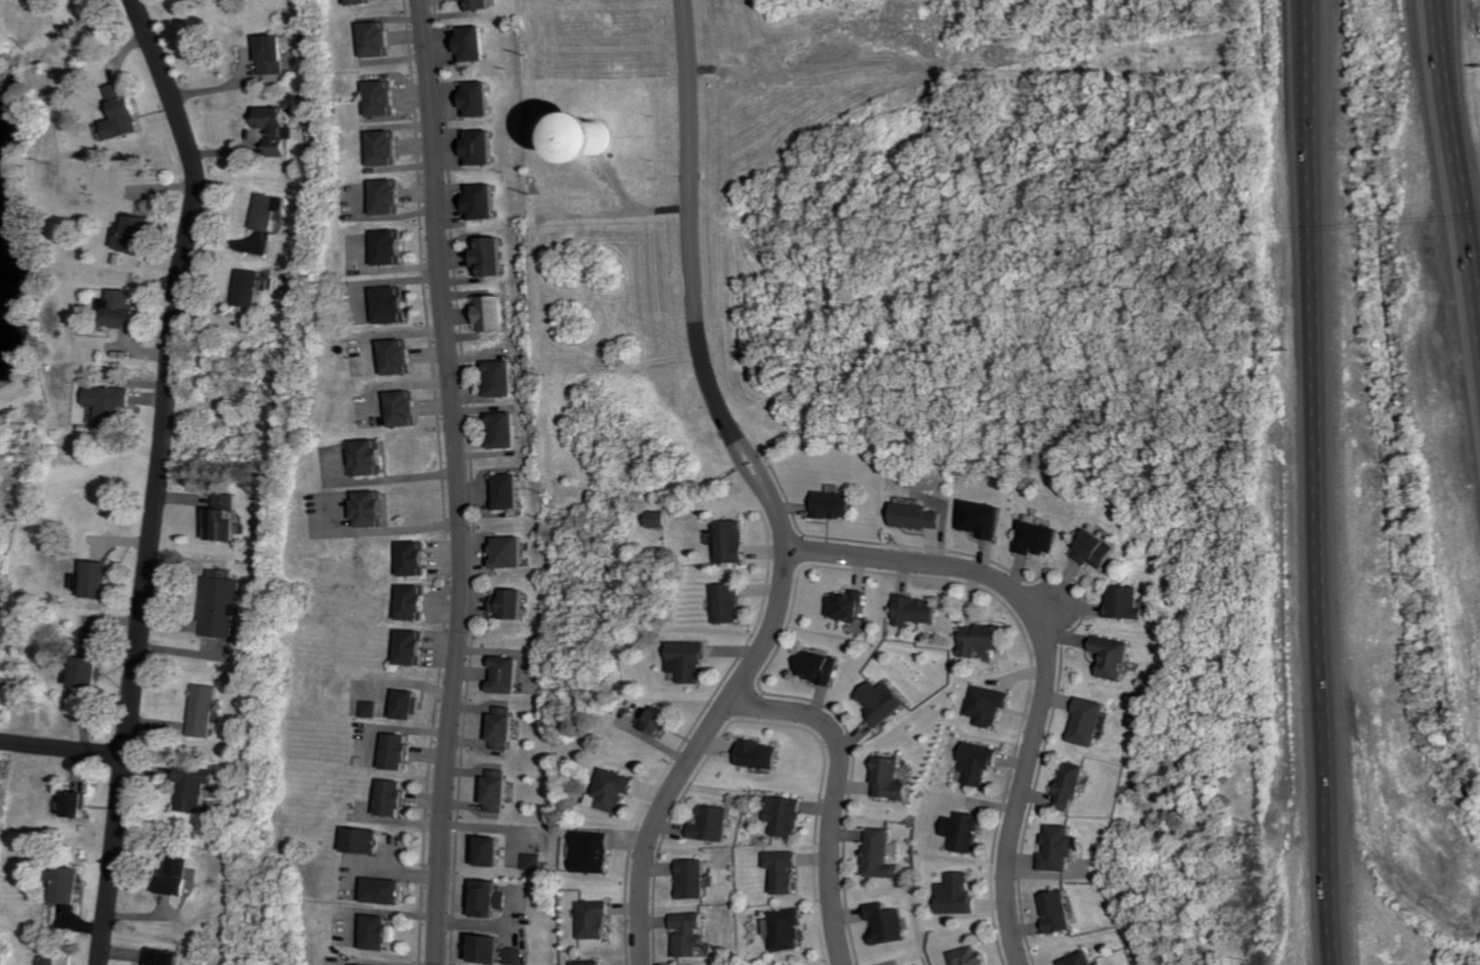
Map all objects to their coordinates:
building: (360, 2)
building: (476, 5)
building: (375, 39)
building: (471, 44)
building: (274, 55)
road: (1449, 59)
building: (380, 98)
building: (475, 98)
building: (123, 113)
building: (277, 129)
building: (611, 140)
water tower: (594, 142)
building: (384, 148)
building: (477, 148)
road: (1457, 174)
building: (388, 197)
building: (481, 202)
building: (270, 211)
road: (691, 211)
building: (137, 234)
building: (392, 247)
building: (488, 257)
building: (252, 288)
building: (394, 305)
building: (124, 310)
building: (491, 314)
building: (398, 357)
building: (499, 379)
building: (113, 403)
building: (402, 408)
building: (503, 431)
road: (751, 456)
building: (368, 458)
road: (739, 463)
road: (160, 478)
road: (399, 479)
road: (453, 481)
road: (1317, 482)
building: (508, 492)
building: (835, 505)
building: (370, 510)
building: (921, 517)
building: (224, 519)
building: (659, 519)
building: (985, 520)
road: (403, 529)
building: (1039, 539)
building: (732, 542)
building: (1099, 551)
building: (511, 553)
building: (414, 559)
building: (97, 580)
building: (414, 603)
building: (728, 604)
building: (1127, 604)
building: (220, 605)
building: (513, 605)
building: (847, 606)
road: (1042, 610)
building: (915, 611)
building: (982, 639)
building: (414, 648)
building: (1115, 657)
road: (1046, 659)
building: (689, 662)
building: (818, 667)
building: (93, 674)
building: (511, 676)
building: (883, 701)
building: (411, 705)
building: (988, 706)
building: (372, 709)
building: (204, 710)
building: (658, 720)
building: (1091, 722)
building: (509, 729)
road: (711, 730)
road: (64, 749)
building: (403, 752)
building: (762, 755)
building: (977, 764)
building: (893, 779)
building: (1073, 786)
building: (193, 788)
building: (501, 791)
building: (614, 791)
road: (839, 793)
building: (399, 798)
building: (81, 805)
building: (789, 816)
building: (714, 824)
building: (964, 832)
building: (371, 839)
building: (1062, 849)
building: (491, 852)
building: (594, 852)
building: (884, 854)
building: (532, 862)
building: (788, 871)
building: (177, 876)
building: (695, 880)
building: (69, 884)
building: (391, 890)
building: (957, 894)
building: (489, 898)
building: (1059, 913)
building: (595, 919)
building: (890, 925)
building: (791, 929)
building: (383, 931)
building: (693, 933)
building: (514, 956)
building: (968, 956)
building: (167, 957)
building: (62, 959)
building: (1082, 959)
building: (591, 962)
building: (363, 964)

